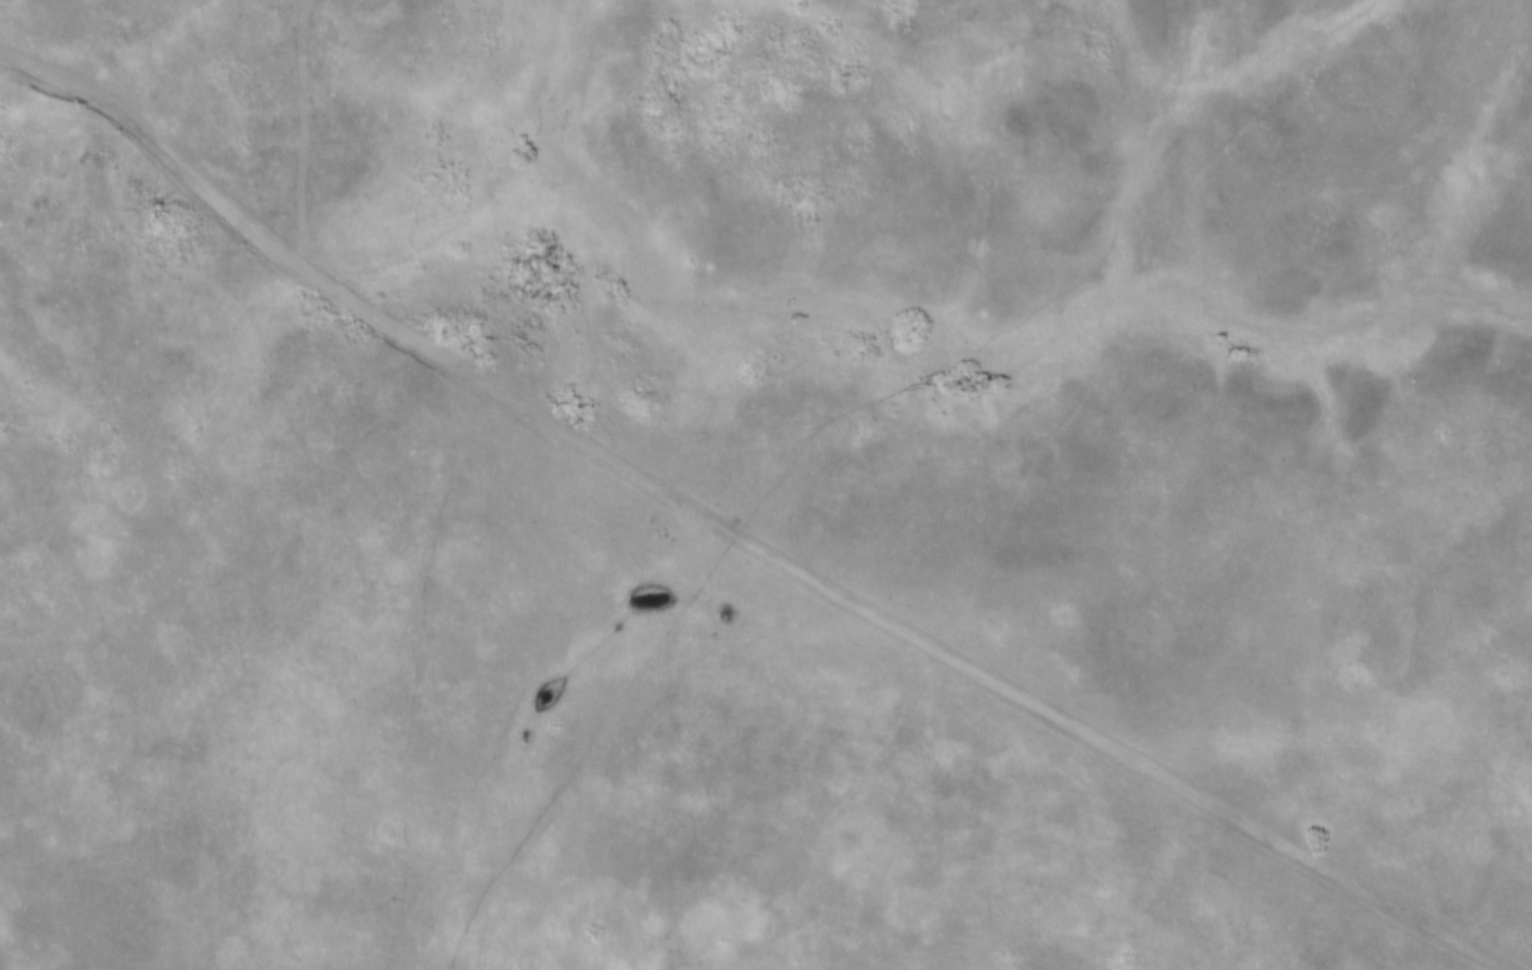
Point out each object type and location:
road: (740, 536)

